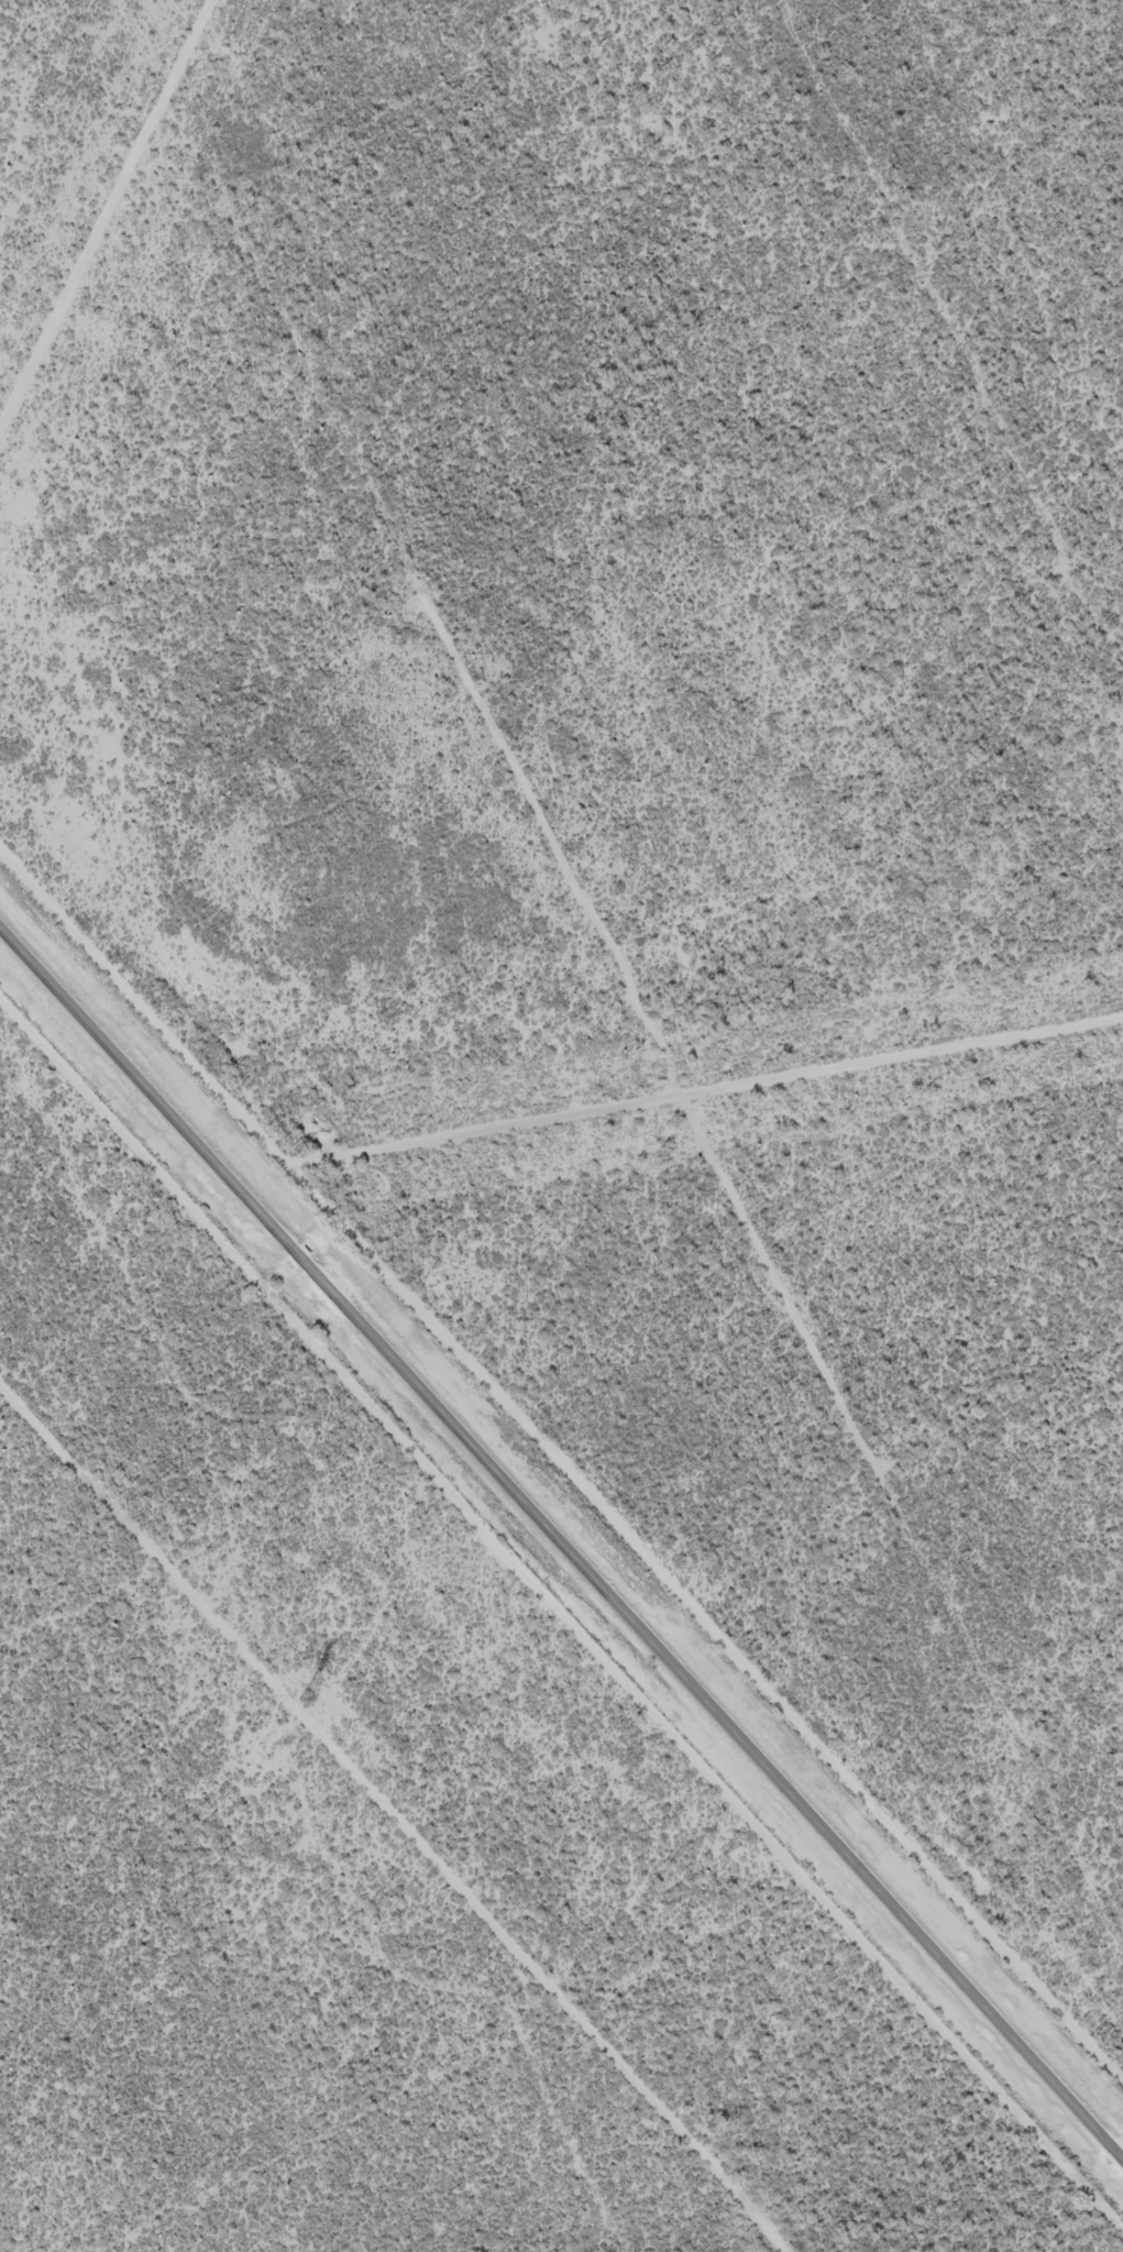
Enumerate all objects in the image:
power tower: (295, 1700)

